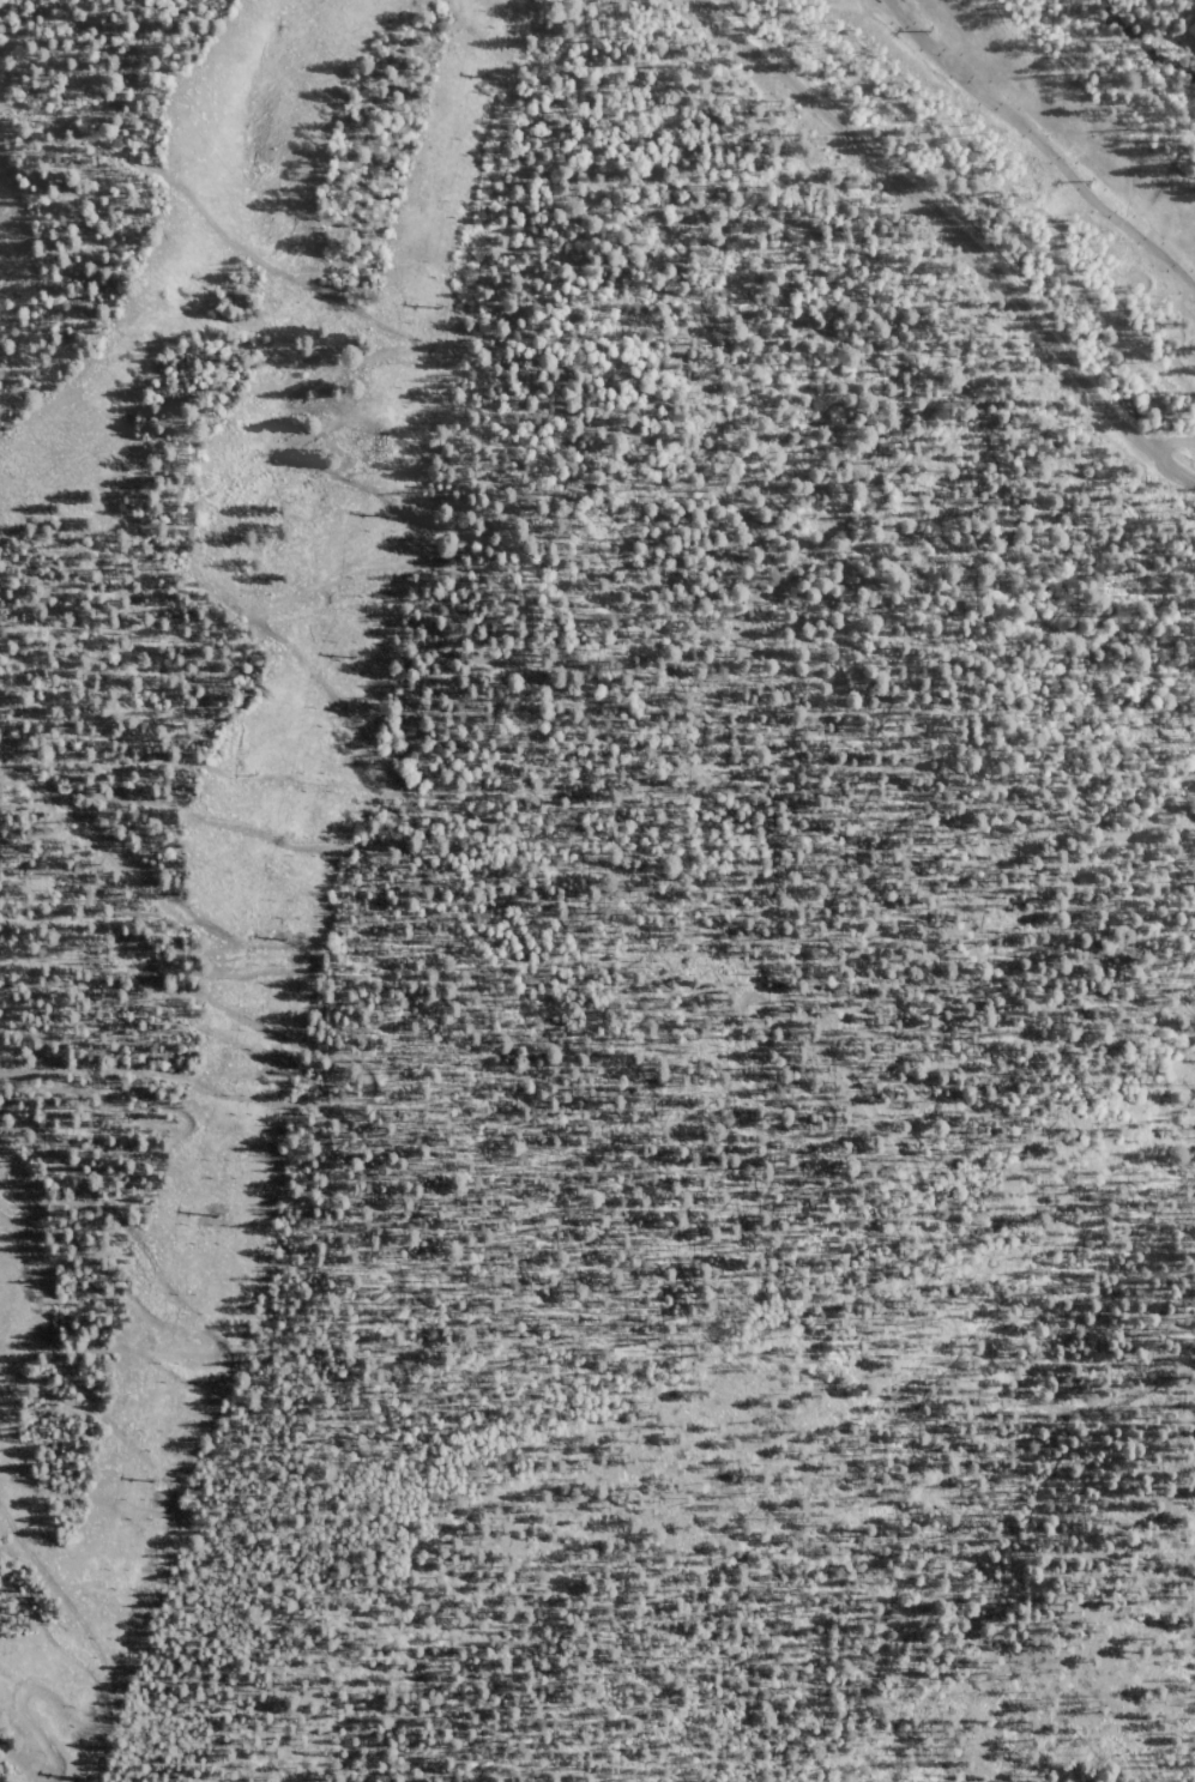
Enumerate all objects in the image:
aerialway pylon: (928, 29)
building: (1191, 30)
aerialway pylon: (495, 75)
aerialway pylon: (1088, 181)
road: (949, 228)
aerialway pylon: (439, 307)
aerialway pylon: (390, 515)
aerialway pylon: (355, 656)
road: (282, 780)
road: (105, 834)
ski resort: (593, 895)
road: (116, 931)
aerialway pylon: (286, 938)
road: (844, 1103)
road: (67, 1179)
aerialway pylon: (221, 1215)
road: (121, 1349)
aerialway pylon: (157, 1479)
road: (72, 1720)
aerialway pylon: (85, 1777)

